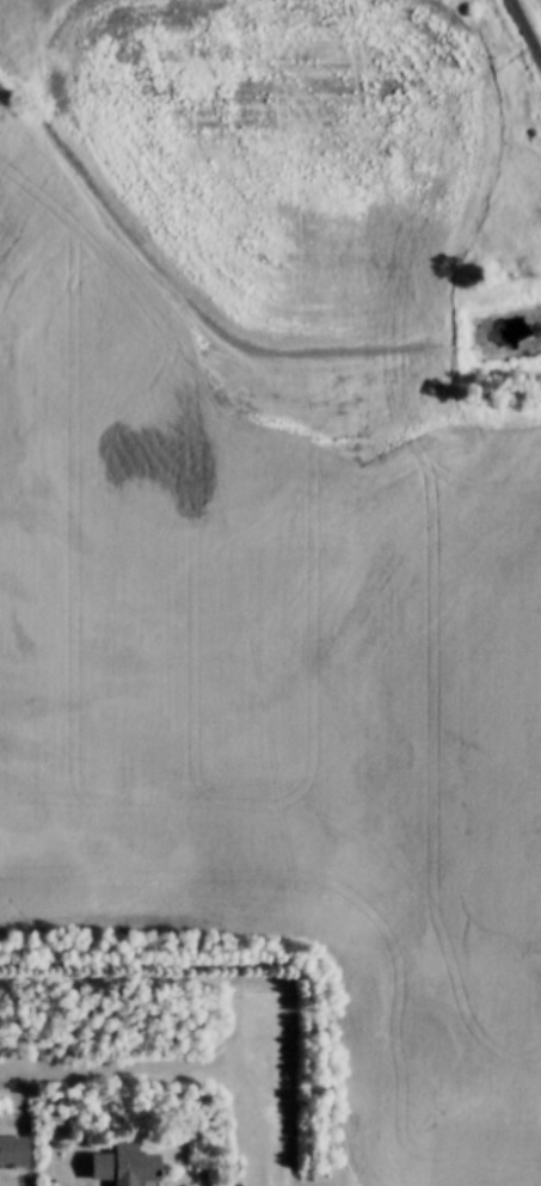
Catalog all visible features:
railway: (525, 29)
building: (14, 1151)
building: (129, 1166)

